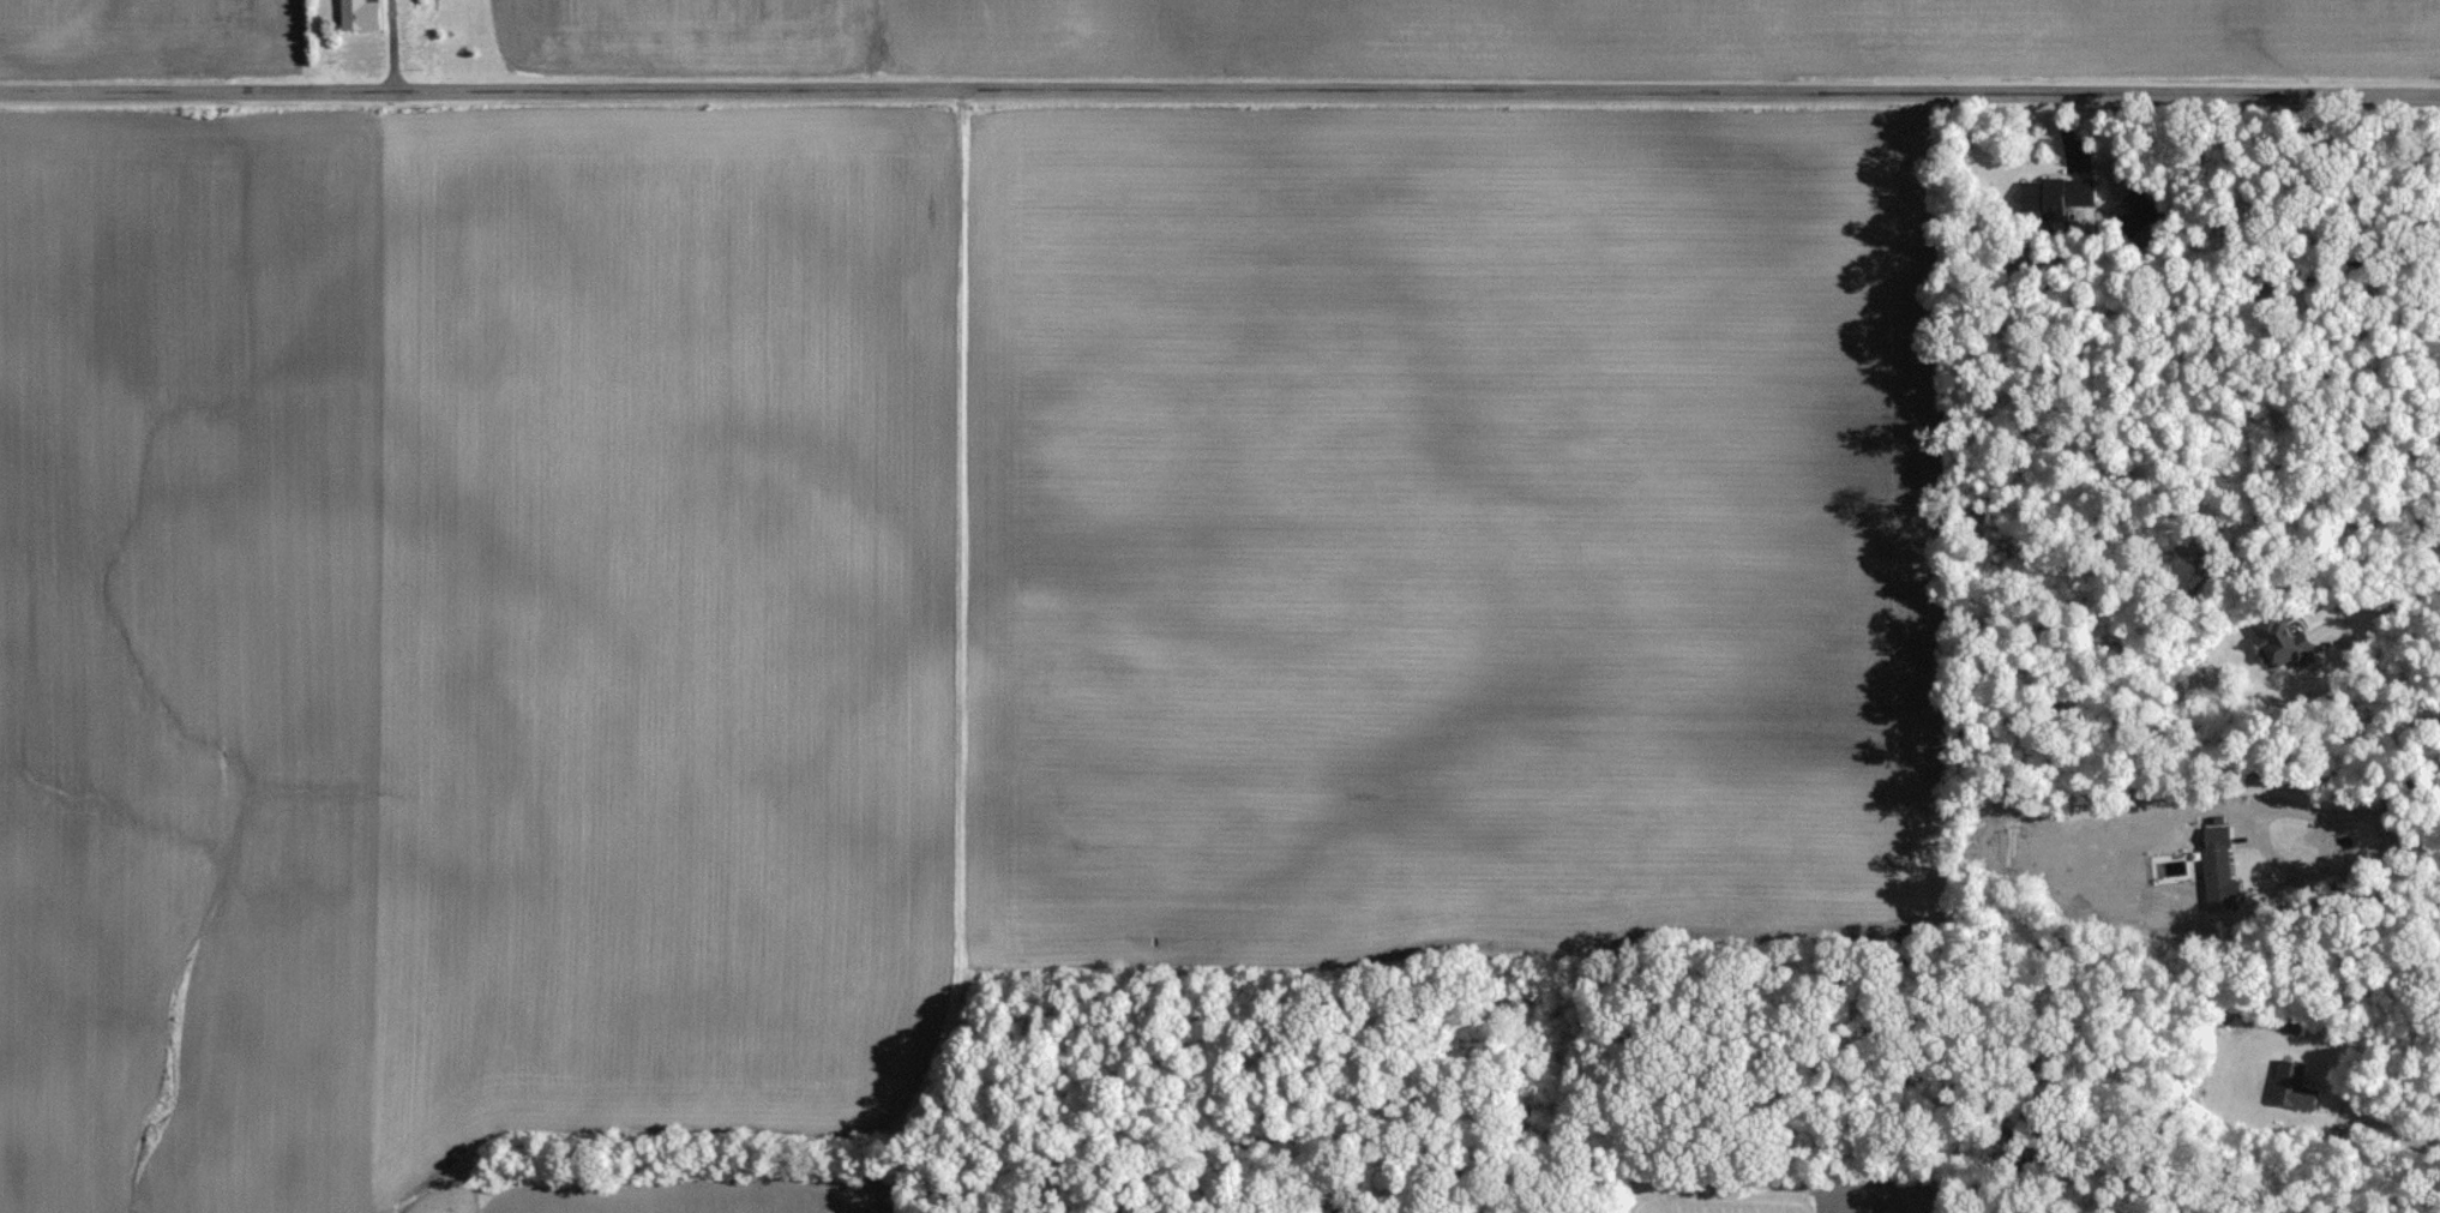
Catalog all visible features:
building: (360, 13)
road: (390, 46)
road: (1220, 91)
road: (2379, 606)
road: (2349, 812)
road: (2386, 1125)

